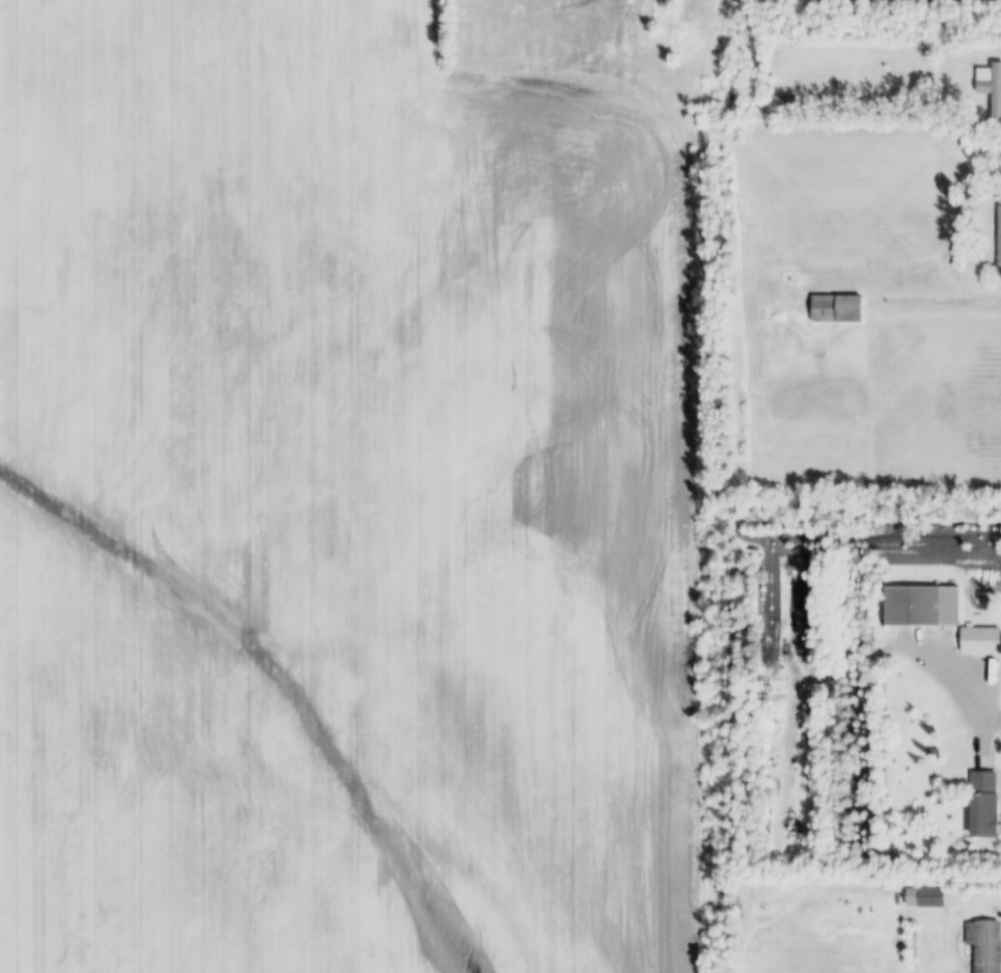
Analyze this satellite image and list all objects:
building: (991, 86)
building: (784, 102)
building: (999, 237)
road: (938, 301)
building: (837, 309)
building: (921, 607)
building: (980, 640)
road: (958, 691)
building: (933, 753)
building: (983, 805)
building: (751, 893)
building: (925, 898)
building: (757, 906)
building: (984, 945)

